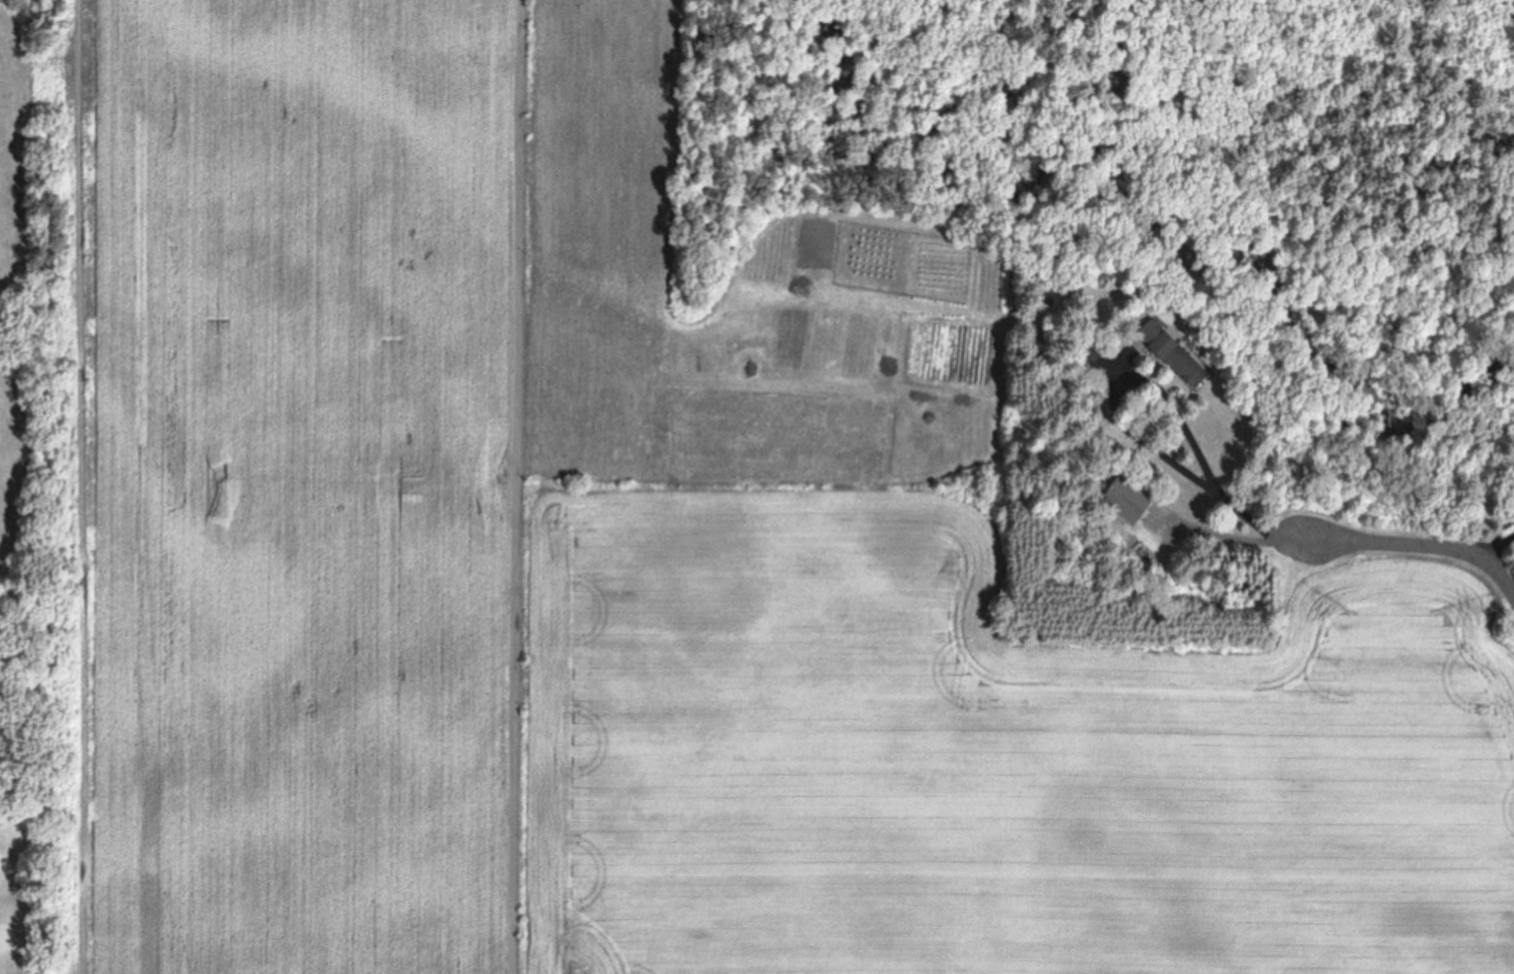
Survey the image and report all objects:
building: (1171, 361)
road: (1120, 422)
road: (520, 486)
building: (1117, 498)
road: (1418, 546)

